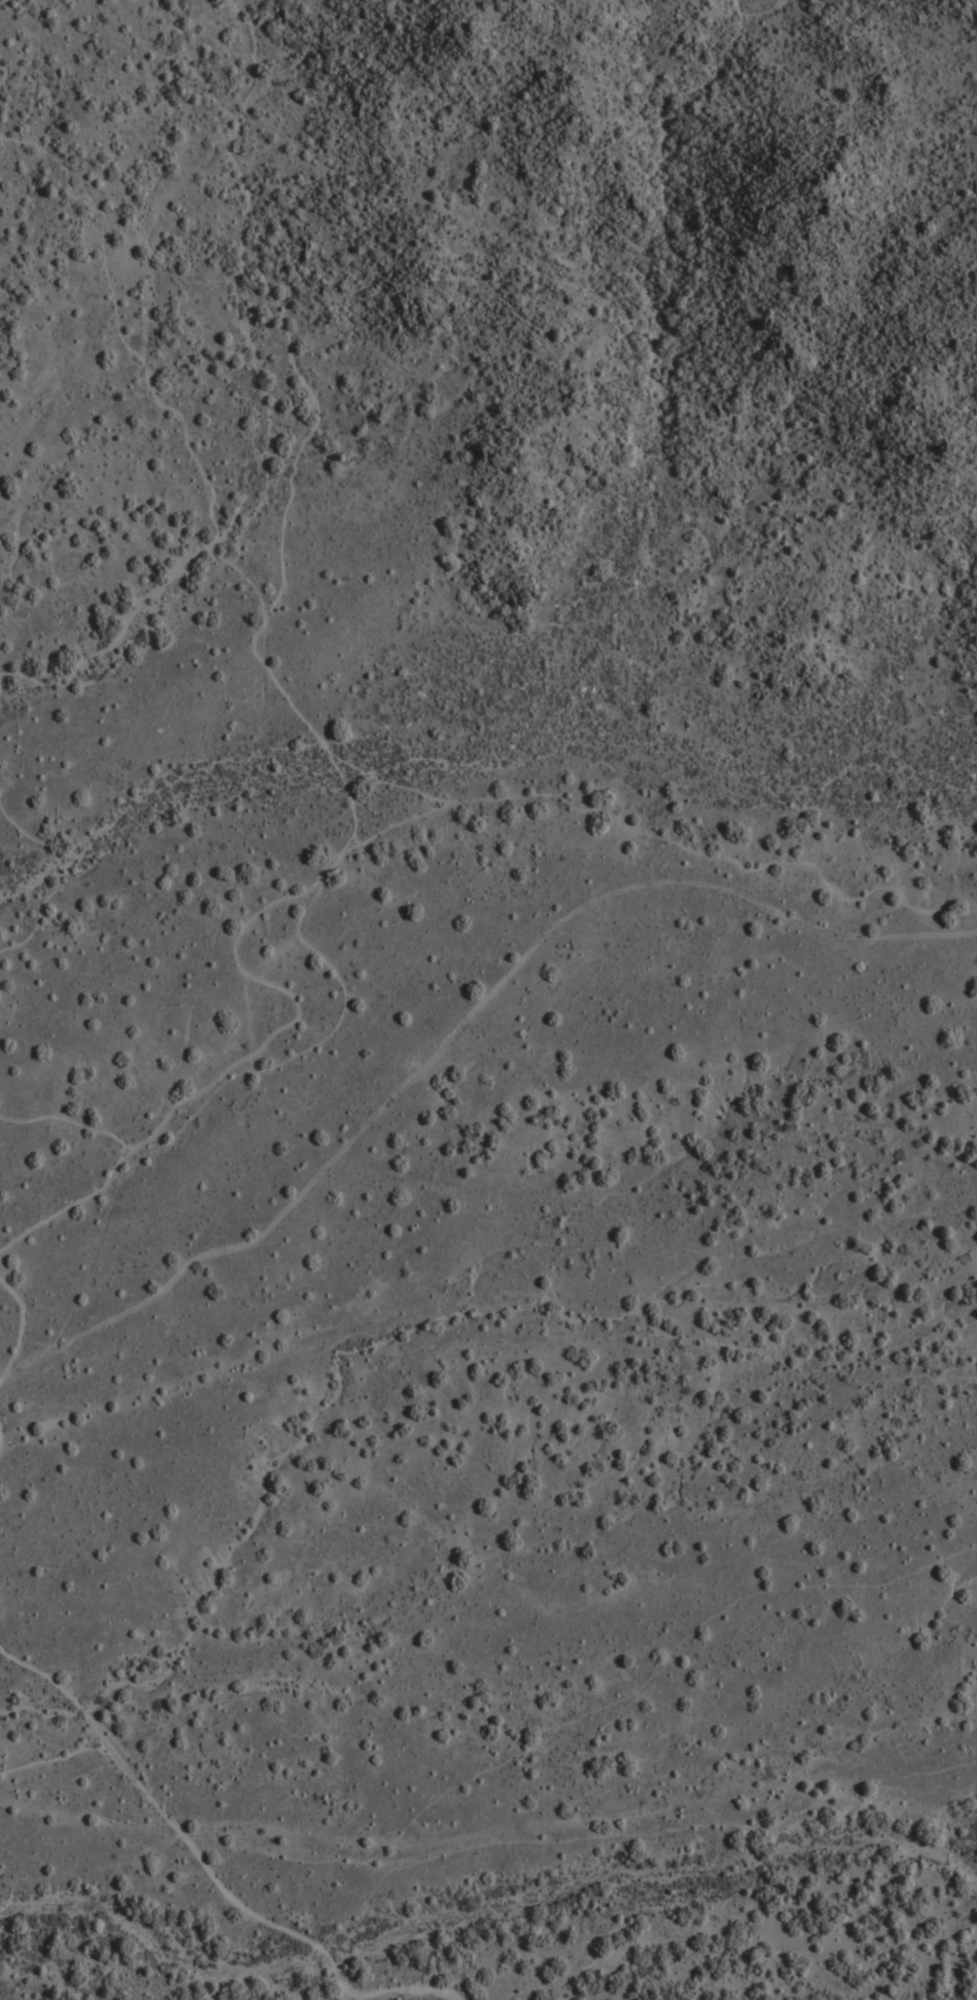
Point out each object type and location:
road: (301, 380)
road: (118, 632)
road: (329, 746)
road: (406, 821)
road: (660, 829)
road: (58, 875)
road: (76, 1121)
park: (458, 1297)
road: (17, 1321)
road: (0, 1443)
road: (55, 1759)
road: (205, 1861)

